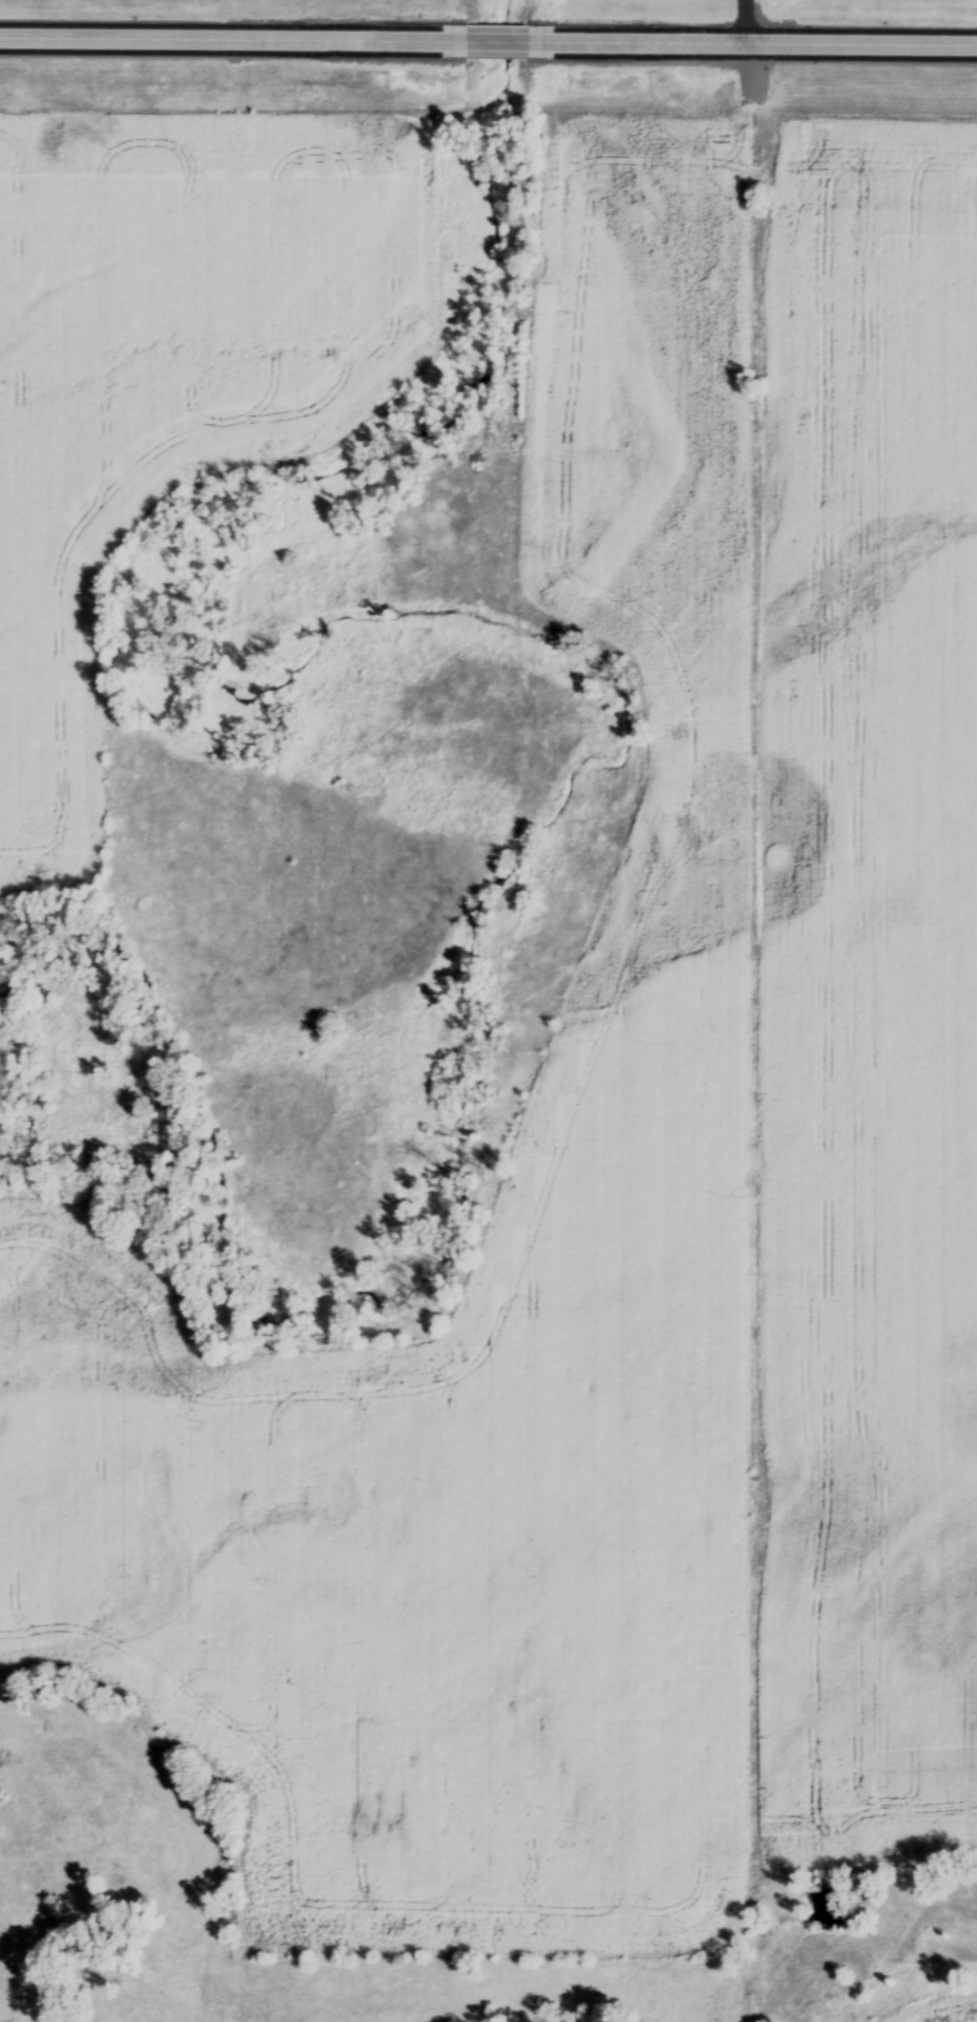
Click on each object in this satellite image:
road: (744, 20)
road: (488, 36)

